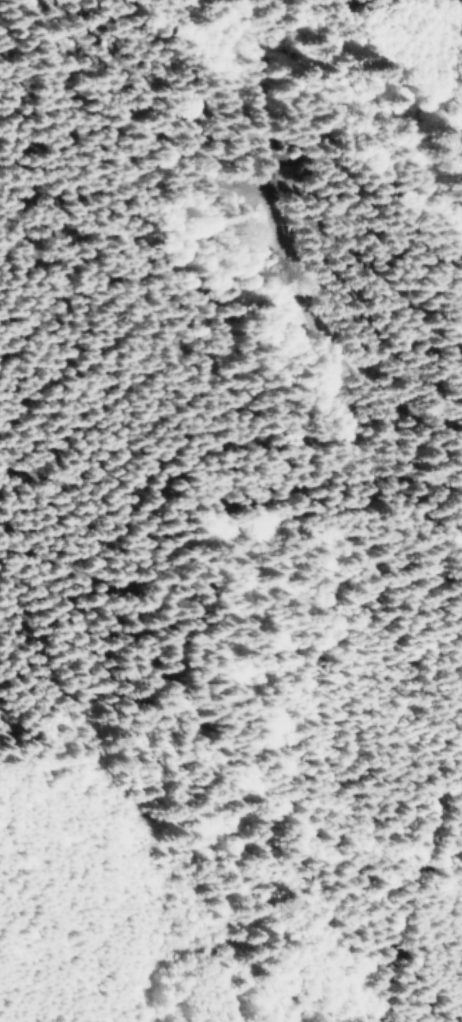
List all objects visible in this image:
road: (300, 234)
road: (399, 884)

